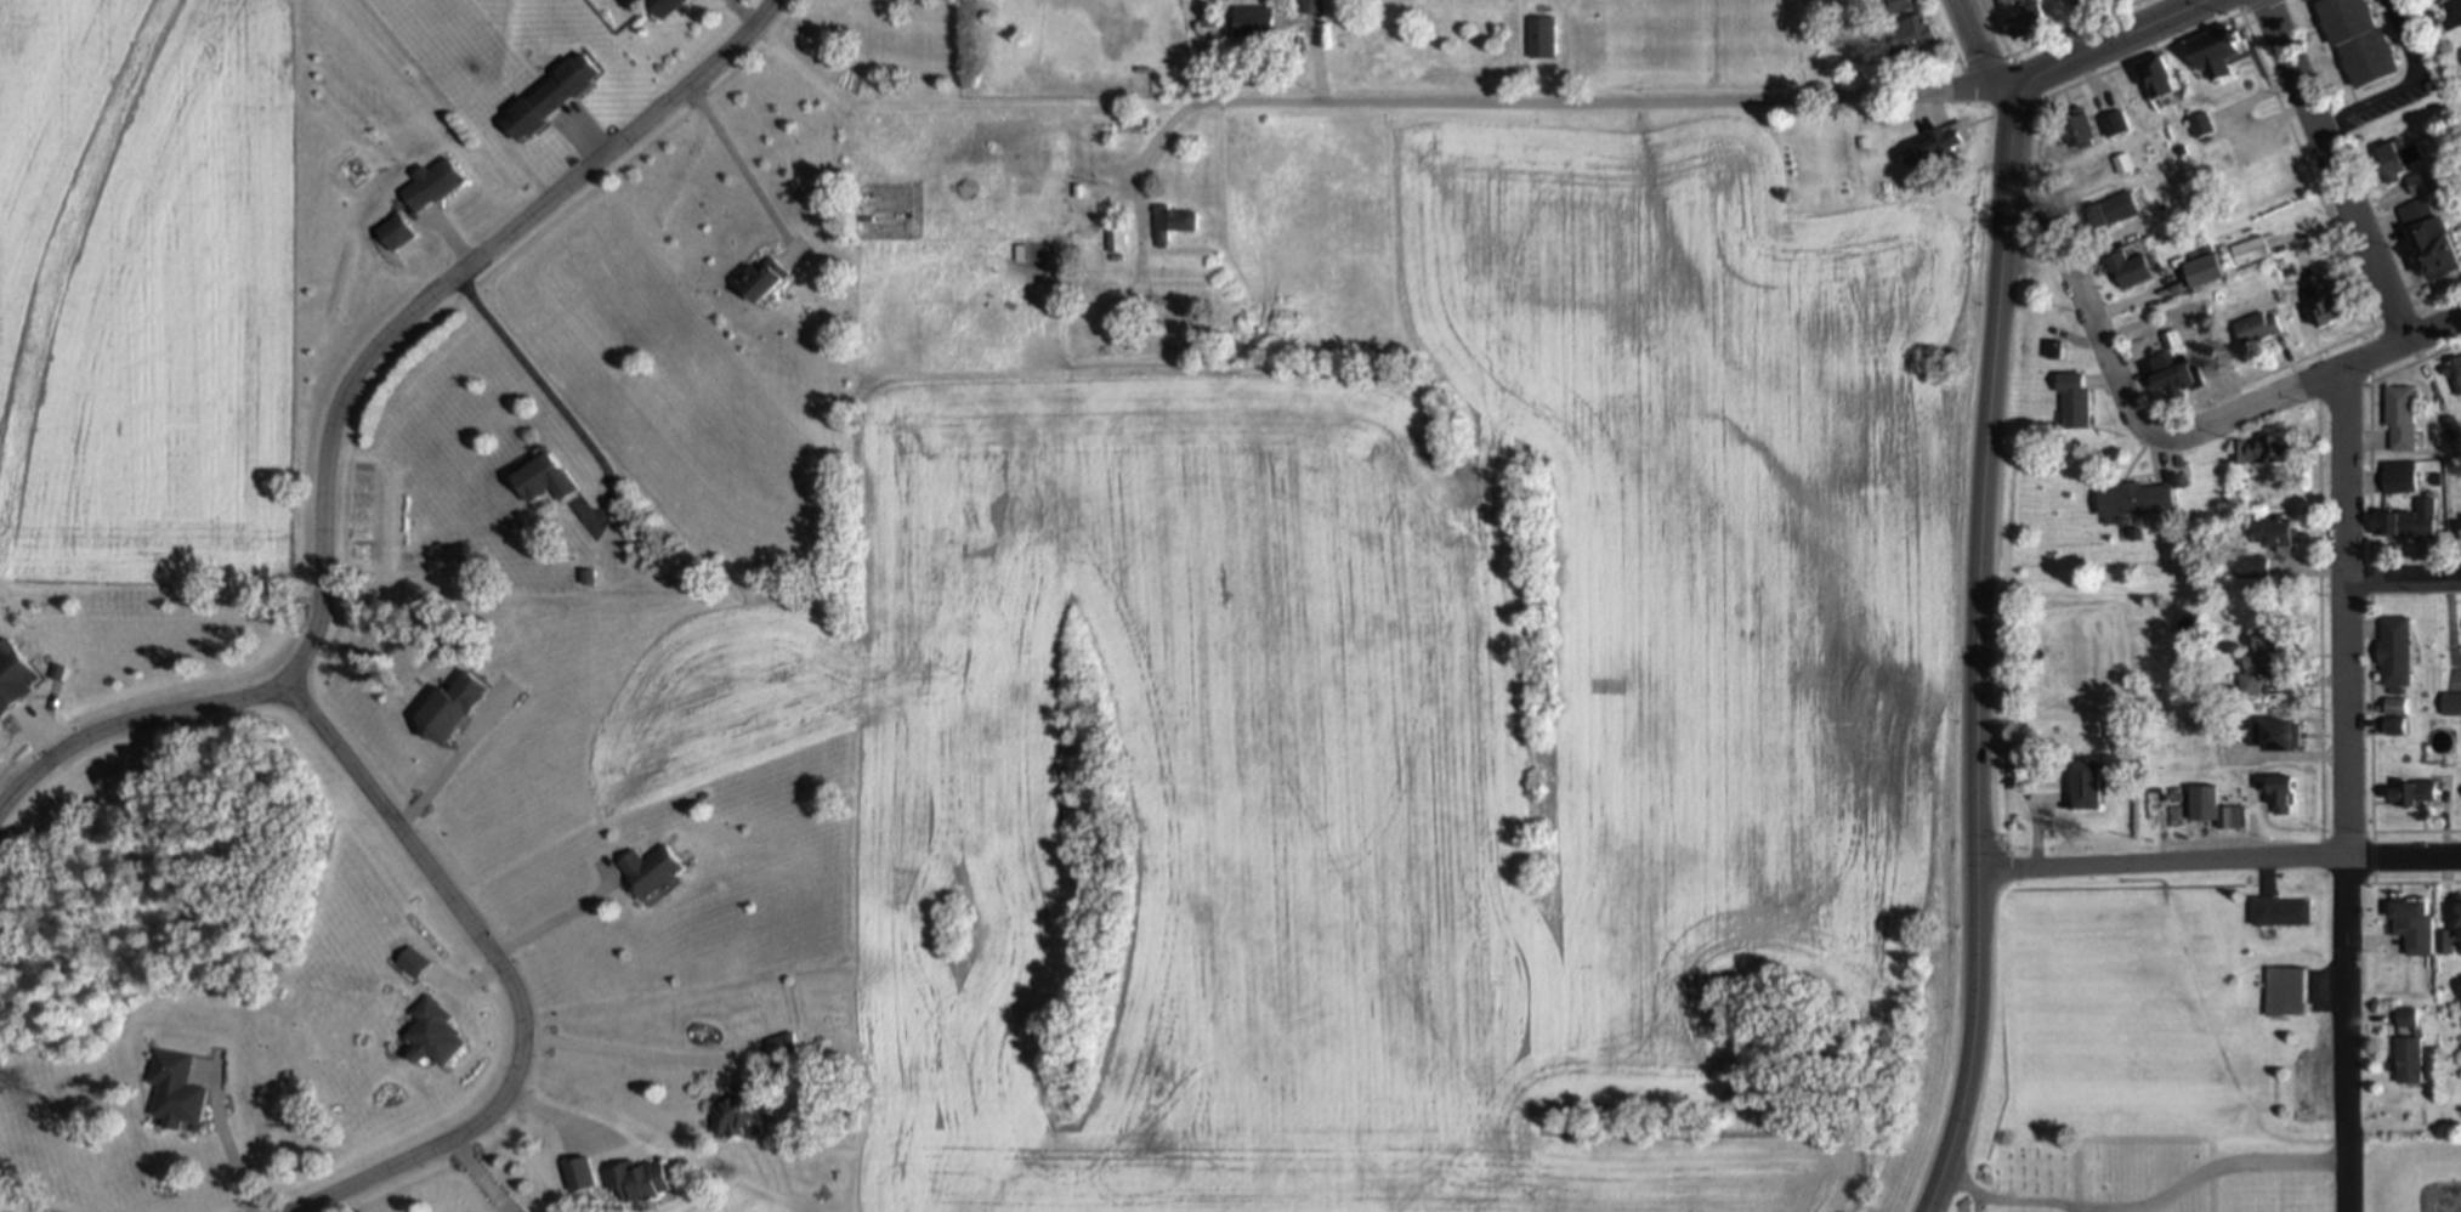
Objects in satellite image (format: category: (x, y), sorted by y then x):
building: (2442, 0)
building: (2006, 2)
building: (2092, 4)
building: (669, 6)
building: (1894, 6)
building: (1311, 7)
building: (1212, 17)
building: (2030, 19)
building: (1260, 23)
road: (1996, 28)
road: (2071, 28)
building: (1543, 38)
building: (1917, 38)
road: (2110, 39)
building: (2365, 40)
building: (2221, 51)
road: (1954, 52)
road: (1983, 52)
road: (2142, 55)
road: (1983, 62)
parking lot: (2421, 74)
building: (2160, 77)
road: (2408, 84)
building: (552, 98)
road: (1603, 102)
building: (2119, 123)
building: (2206, 123)
building: (2085, 129)
building: (1939, 142)
building: (2397, 157)
road: (1140, 162)
building: (2125, 163)
road: (2336, 169)
road: (737, 170)
road: (2306, 170)
building: (2422, 181)
building: (435, 182)
building: (2104, 213)
building: (1170, 222)
building: (397, 231)
building: (2436, 238)
building: (1115, 239)
building: (2252, 249)
building: (2128, 267)
building: (2205, 270)
building: (764, 277)
road: (2138, 299)
building: (1152, 300)
building: (2327, 301)
road: (2000, 313)
road: (2092, 315)
building: (2258, 327)
building: (2171, 339)
building: (2054, 349)
road: (367, 355)
road: (2306, 357)
building: (2171, 372)
road: (2389, 373)
building: (2453, 373)
road: (2312, 380)
building: (2075, 400)
road: (555, 406)
building: (2404, 418)
building: (2454, 426)
building: (2275, 449)
building: (2239, 451)
building: (546, 478)
building: (2400, 482)
building: (2139, 498)
building: (2411, 520)
building: (2283, 533)
road: (2415, 553)
building: (2253, 567)
road: (2402, 574)
road: (2319, 618)
road: (2371, 618)
building: (2399, 650)
building: (2259, 659)
building: (15, 676)
building: (2451, 703)
building: (2398, 706)
road: (129, 726)
building: (2397, 726)
building: (2269, 732)
building: (2091, 783)
road: (2347, 789)
building: (2284, 792)
building: (2417, 793)
building: (2216, 808)
road: (2416, 829)
road: (2218, 861)
building: (653, 870)
road: (2404, 880)
road: (1975, 882)
building: (2285, 911)
road: (558, 918)
building: (2414, 923)
building: (2446, 941)
building: (2289, 991)
building: (2409, 1016)
building: (438, 1032)
road: (641, 1050)
building: (2410, 1060)
road: (516, 1067)
building: (178, 1089)
building: (747, 1108)
road: (566, 1118)
road: (225, 1140)
road: (2278, 1161)
building: (585, 1176)
road: (481, 1177)
building: (640, 1178)
park: (2088, 1180)
road: (2079, 1182)
road: (2211, 1190)
road: (1977, 1201)
road: (2079, 1207)

